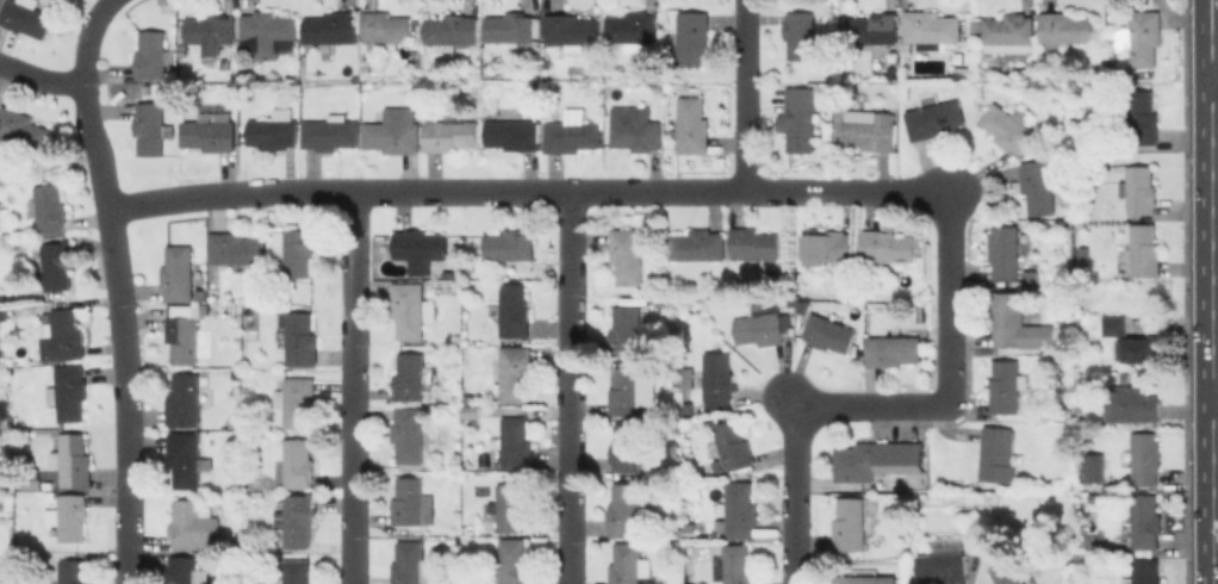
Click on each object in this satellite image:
road: (1214, 4)
building: (166, 6)
building: (26, 17)
building: (1065, 27)
building: (331, 29)
road: (1214, 29)
building: (512, 30)
building: (632, 30)
building: (385, 31)
building: (450, 31)
building: (571, 31)
building: (875, 31)
building: (928, 31)
building: (211, 32)
building: (1008, 33)
building: (268, 35)
building: (800, 36)
road: (87, 37)
building: (1145, 38)
building: (690, 39)
building: (154, 55)
road: (1214, 62)
road: (1216, 74)
building: (964, 76)
road: (41, 77)
building: (901, 89)
road: (741, 94)
building: (1141, 117)
building: (933, 119)
building: (800, 126)
building: (692, 128)
building: (151, 129)
building: (1007, 129)
building: (274, 130)
building: (21, 131)
building: (393, 131)
building: (871, 132)
building: (330, 133)
building: (514, 135)
building: (636, 135)
building: (210, 136)
building: (450, 136)
building: (571, 136)
building: (1040, 187)
road: (524, 191)
building: (1141, 192)
building: (50, 210)
building: (512, 246)
building: (756, 246)
building: (697, 247)
building: (236, 248)
building: (421, 249)
building: (828, 249)
building: (294, 250)
building: (890, 250)
building: (1005, 250)
building: (1144, 253)
building: (627, 255)
building: (58, 267)
building: (179, 273)
road: (944, 296)
building: (411, 310)
building: (516, 312)
building: (1018, 324)
building: (760, 325)
building: (1116, 325)
road: (1214, 329)
building: (627, 330)
road: (122, 331)
building: (828, 333)
building: (63, 337)
building: (182, 338)
building: (300, 340)
building: (893, 350)
building: (1139, 350)
building: (517, 374)
building: (410, 377)
building: (720, 377)
road: (354, 387)
road: (570, 387)
building: (1008, 389)
building: (627, 391)
building: (69, 393)
road: (1217, 393)
building: (185, 400)
building: (296, 400)
road: (870, 404)
building: (1133, 405)
building: (409, 435)
building: (516, 443)
building: (627, 448)
building: (734, 448)
building: (996, 454)
building: (1148, 459)
building: (73, 460)
building: (187, 460)
building: (878, 461)
building: (298, 464)
building: (1094, 468)
building: (33, 485)
road: (795, 485)
building: (411, 503)
building: (515, 510)
building: (624, 510)
building: (739, 510)
building: (70, 517)
building: (297, 522)
building: (1146, 523)
building: (193, 526)
building: (850, 526)
building: (515, 563)
building: (947, 563)
building: (411, 564)
building: (628, 564)
building: (737, 565)
building: (182, 570)
building: (73, 572)
building: (297, 572)
building: (1144, 572)
building: (1009, 573)
building: (868, 580)

